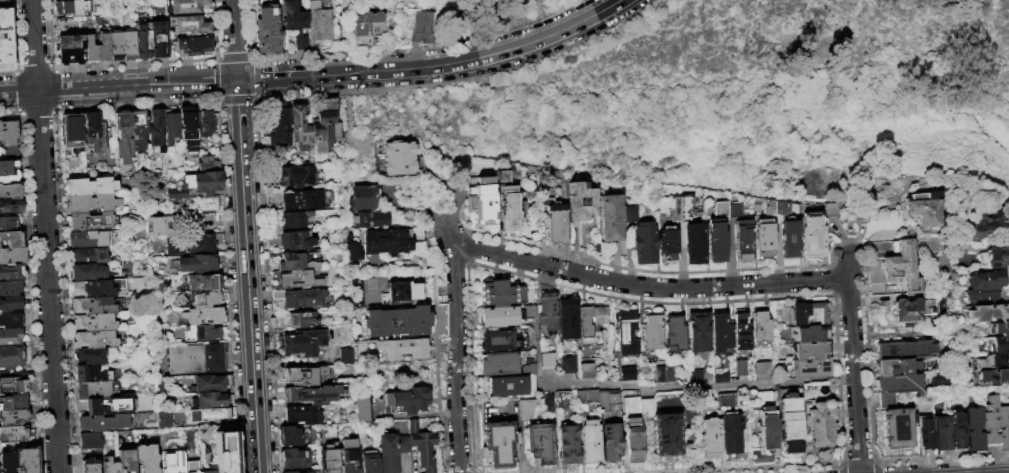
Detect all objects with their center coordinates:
building: (3, 1)
building: (188, 6)
building: (72, 8)
building: (319, 20)
building: (295, 22)
building: (191, 25)
building: (422, 27)
building: (367, 28)
building: (267, 30)
building: (6, 38)
building: (157, 39)
road: (234, 39)
building: (141, 41)
building: (71, 42)
building: (115, 45)
building: (128, 45)
road: (910, 45)
building: (192, 46)
building: (103, 48)
building: (89, 49)
building: (71, 56)
road: (479, 57)
road: (282, 76)
road: (118, 86)
park: (721, 91)
building: (208, 124)
building: (171, 126)
building: (299, 127)
building: (324, 127)
building: (279, 128)
building: (139, 130)
building: (157, 130)
building: (188, 130)
building: (94, 132)
building: (72, 133)
building: (124, 137)
building: (10, 139)
building: (393, 157)
building: (208, 164)
building: (525, 168)
building: (8, 171)
building: (295, 176)
building: (208, 183)
building: (90, 187)
building: (10, 191)
building: (178, 194)
building: (529, 195)
building: (363, 197)
building: (326, 199)
building: (297, 200)
building: (317, 200)
building: (482, 202)
building: (581, 202)
building: (91, 204)
building: (510, 204)
building: (680, 204)
building: (11, 207)
building: (829, 209)
building: (926, 209)
building: (726, 210)
building: (860, 215)
building: (611, 218)
building: (294, 219)
building: (371, 219)
building: (991, 219)
building: (91, 222)
building: (555, 222)
building: (9, 225)
building: (157, 225)
building: (765, 231)
building: (811, 234)
road: (45, 236)
road: (449, 237)
building: (789, 238)
building: (12, 239)
building: (88, 239)
building: (743, 240)
building: (392, 241)
building: (695, 241)
building: (716, 241)
building: (296, 242)
building: (645, 243)
building: (194, 244)
building: (668, 244)
building: (353, 250)
building: (13, 256)
building: (90, 256)
building: (995, 257)
building: (295, 263)
building: (199, 265)
building: (902, 267)
building: (88, 272)
building: (12, 273)
road: (247, 276)
building: (295, 279)
building: (987, 279)
building: (203, 283)
road: (646, 286)
building: (10, 288)
building: (98, 288)
building: (402, 292)
building: (501, 293)
road: (456, 294)
building: (982, 294)
building: (301, 298)
building: (207, 299)
building: (10, 304)
building: (93, 305)
building: (910, 310)
building: (529, 311)
building: (549, 312)
building: (990, 312)
building: (568, 314)
building: (808, 314)
building: (206, 316)
building: (500, 316)
building: (302, 320)
building: (11, 321)
building: (94, 322)
building: (408, 322)
building: (591, 325)
building: (761, 327)
building: (1000, 328)
building: (652, 332)
building: (742, 332)
building: (204, 333)
building: (721, 333)
building: (627, 334)
building: (675, 334)
building: (811, 334)
building: (699, 335)
building: (10, 337)
building: (95, 339)
building: (504, 340)
building: (302, 343)
building: (1001, 344)
building: (410, 346)
building: (905, 349)
building: (810, 350)
building: (90, 356)
building: (346, 356)
building: (11, 357)
building: (196, 359)
building: (548, 360)
building: (989, 361)
building: (499, 364)
building: (568, 365)
road: (853, 365)
building: (761, 366)
building: (898, 366)
building: (740, 368)
building: (811, 368)
building: (528, 369)
building: (587, 370)
building: (659, 372)
building: (628, 373)
building: (91, 374)
building: (670, 374)
building: (303, 376)
building: (696, 376)
building: (990, 377)
building: (721, 378)
building: (940, 380)
building: (212, 383)
building: (900, 383)
building: (512, 385)
building: (13, 386)
building: (159, 386)
road: (669, 388)
building: (98, 390)
building: (703, 393)
building: (312, 395)
building: (581, 396)
building: (592, 396)
building: (626, 398)
building: (562, 399)
building: (607, 400)
building: (726, 400)
building: (887, 400)
building: (212, 401)
building: (407, 401)
building: (13, 403)
building: (548, 404)
building: (108, 406)
building: (361, 407)
road: (456, 407)
building: (526, 408)
building: (646, 408)
building: (210, 414)
building: (303, 415)
building: (13, 418)
building: (164, 420)
building: (103, 423)
building: (789, 423)
building: (821, 425)
building: (991, 425)
building: (1003, 426)
building: (898, 427)
building: (767, 428)
building: (974, 429)
building: (958, 431)
building: (925, 432)
building: (730, 433)
building: (942, 433)
building: (14, 434)
building: (667, 435)
building: (294, 436)
building: (710, 436)
building: (633, 439)
building: (590, 441)
building: (90, 442)
building: (540, 442)
building: (610, 442)
building: (498, 444)
building: (568, 444)
building: (422, 446)
building: (226, 449)
building: (391, 451)
building: (349, 457)
building: (146, 458)
building: (330, 458)
building: (294, 459)
building: (27, 460)
building: (126, 460)
building: (7, 462)
building: (173, 462)
building: (370, 462)
building: (90, 466)
building: (110, 466)
building: (191, 467)
building: (208, 472)
building: (302, 472)

